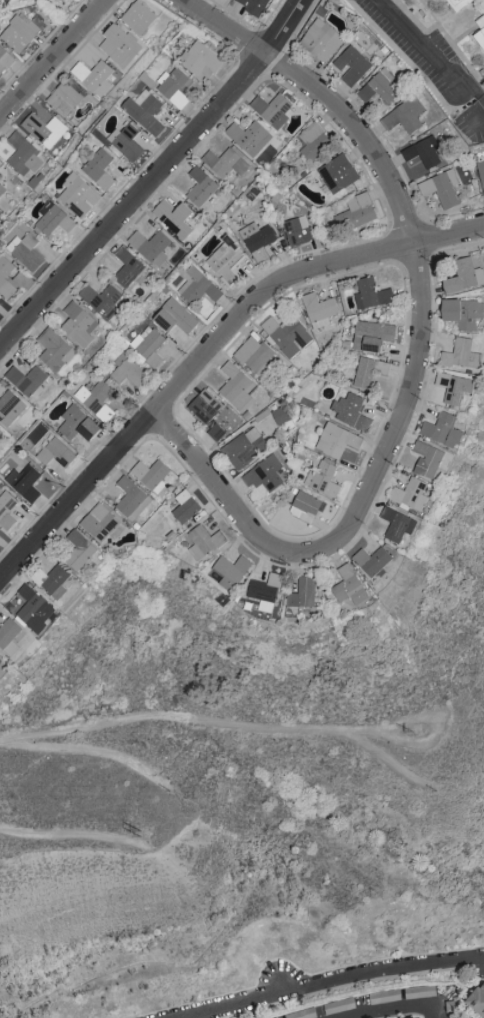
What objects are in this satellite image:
building: (252, 5)
building: (460, 5)
building: (138, 17)
road: (224, 27)
building: (20, 32)
building: (481, 36)
building: (321, 40)
building: (119, 45)
parking lot: (421, 53)
road: (429, 56)
road: (52, 58)
building: (4, 59)
building: (200, 60)
building: (351, 65)
building: (483, 71)
building: (93, 76)
building: (174, 87)
building: (379, 87)
building: (64, 98)
building: (272, 110)
building: (145, 111)
building: (405, 115)
parking lot: (472, 125)
building: (43, 126)
building: (250, 137)
building: (313, 141)
building: (125, 142)
building: (424, 151)
building: (23, 155)
building: (225, 163)
building: (0, 167)
building: (99, 169)
building: (338, 173)
building: (481, 174)
road: (156, 179)
building: (200, 187)
building: (442, 188)
building: (2, 189)
building: (78, 195)
building: (356, 210)
building: (175, 218)
building: (53, 219)
building: (297, 232)
building: (257, 240)
building: (151, 246)
building: (26, 251)
building: (226, 263)
building: (128, 268)
road: (418, 271)
building: (5, 272)
building: (464, 275)
building: (196, 285)
building: (371, 294)
building: (101, 300)
building: (319, 309)
building: (463, 312)
building: (175, 320)
building: (79, 324)
building: (287, 335)
building: (371, 335)
building: (148, 345)
building: (55, 349)
road: (208, 352)
building: (462, 354)
building: (254, 356)
building: (127, 370)
building: (369, 371)
building: (27, 380)
building: (237, 388)
building: (454, 388)
building: (96, 400)
building: (204, 406)
building: (10, 407)
building: (350, 412)
building: (280, 415)
building: (77, 424)
building: (214, 429)
building: (442, 430)
building: (0, 431)
building: (336, 440)
building: (244, 447)
building: (56, 453)
building: (427, 459)
building: (265, 474)
building: (151, 475)
building: (325, 480)
building: (24, 482)
building: (411, 495)
building: (131, 499)
building: (185, 507)
building: (305, 507)
building: (6, 510)
road: (237, 517)
building: (101, 524)
building: (398, 524)
building: (204, 541)
building: (79, 551)
building: (372, 560)
building: (231, 571)
building: (54, 581)
building: (349, 587)
building: (264, 592)
building: (301, 596)
building: (34, 609)
building: (9, 636)
building: (1, 662)
road: (196, 718)
road: (437, 738)
road: (93, 752)
road: (381, 755)
road: (66, 832)
road: (338, 983)
building: (419, 991)
building: (477, 999)
building: (452, 1007)
road: (402, 1012)
building: (301, 1013)
building: (410, 1017)

